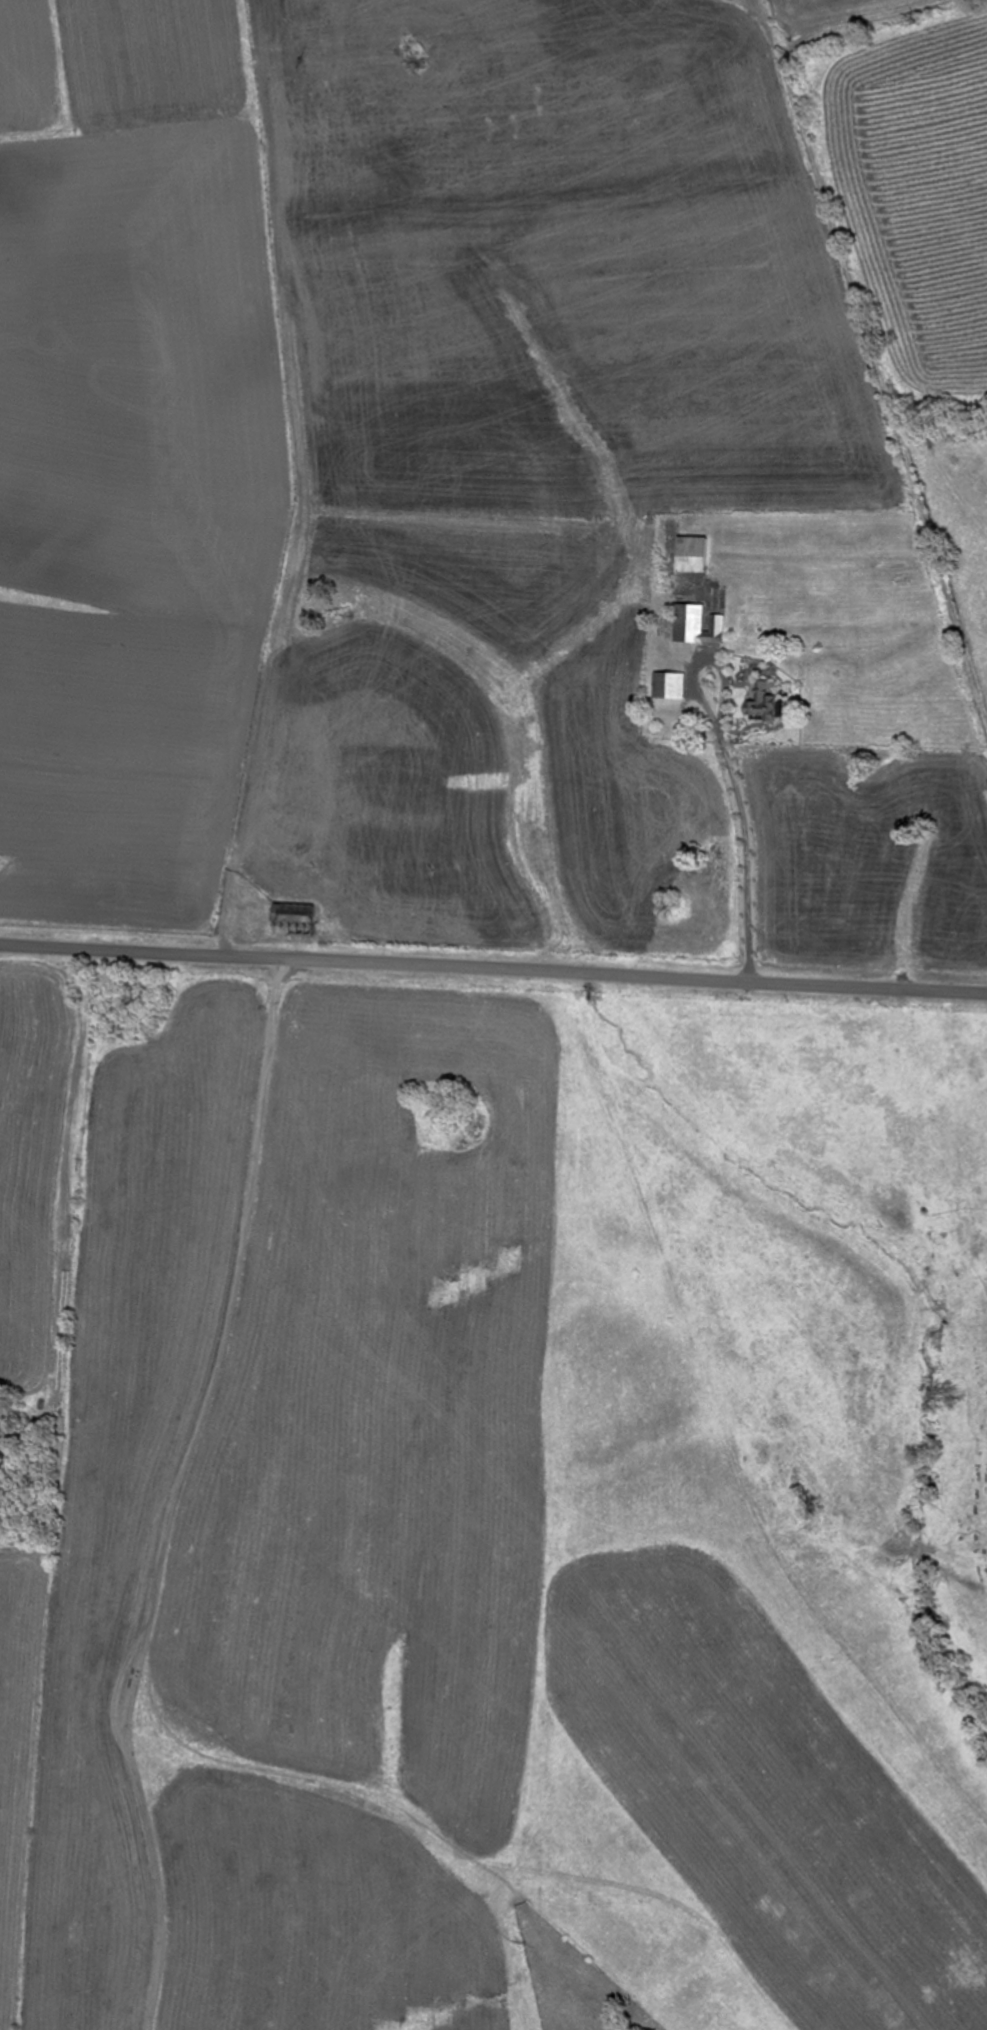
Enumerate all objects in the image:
building: (689, 555)
building: (698, 625)
building: (670, 685)
building: (764, 700)
road: (777, 806)
building: (288, 920)
road: (493, 968)
road: (169, 1491)

